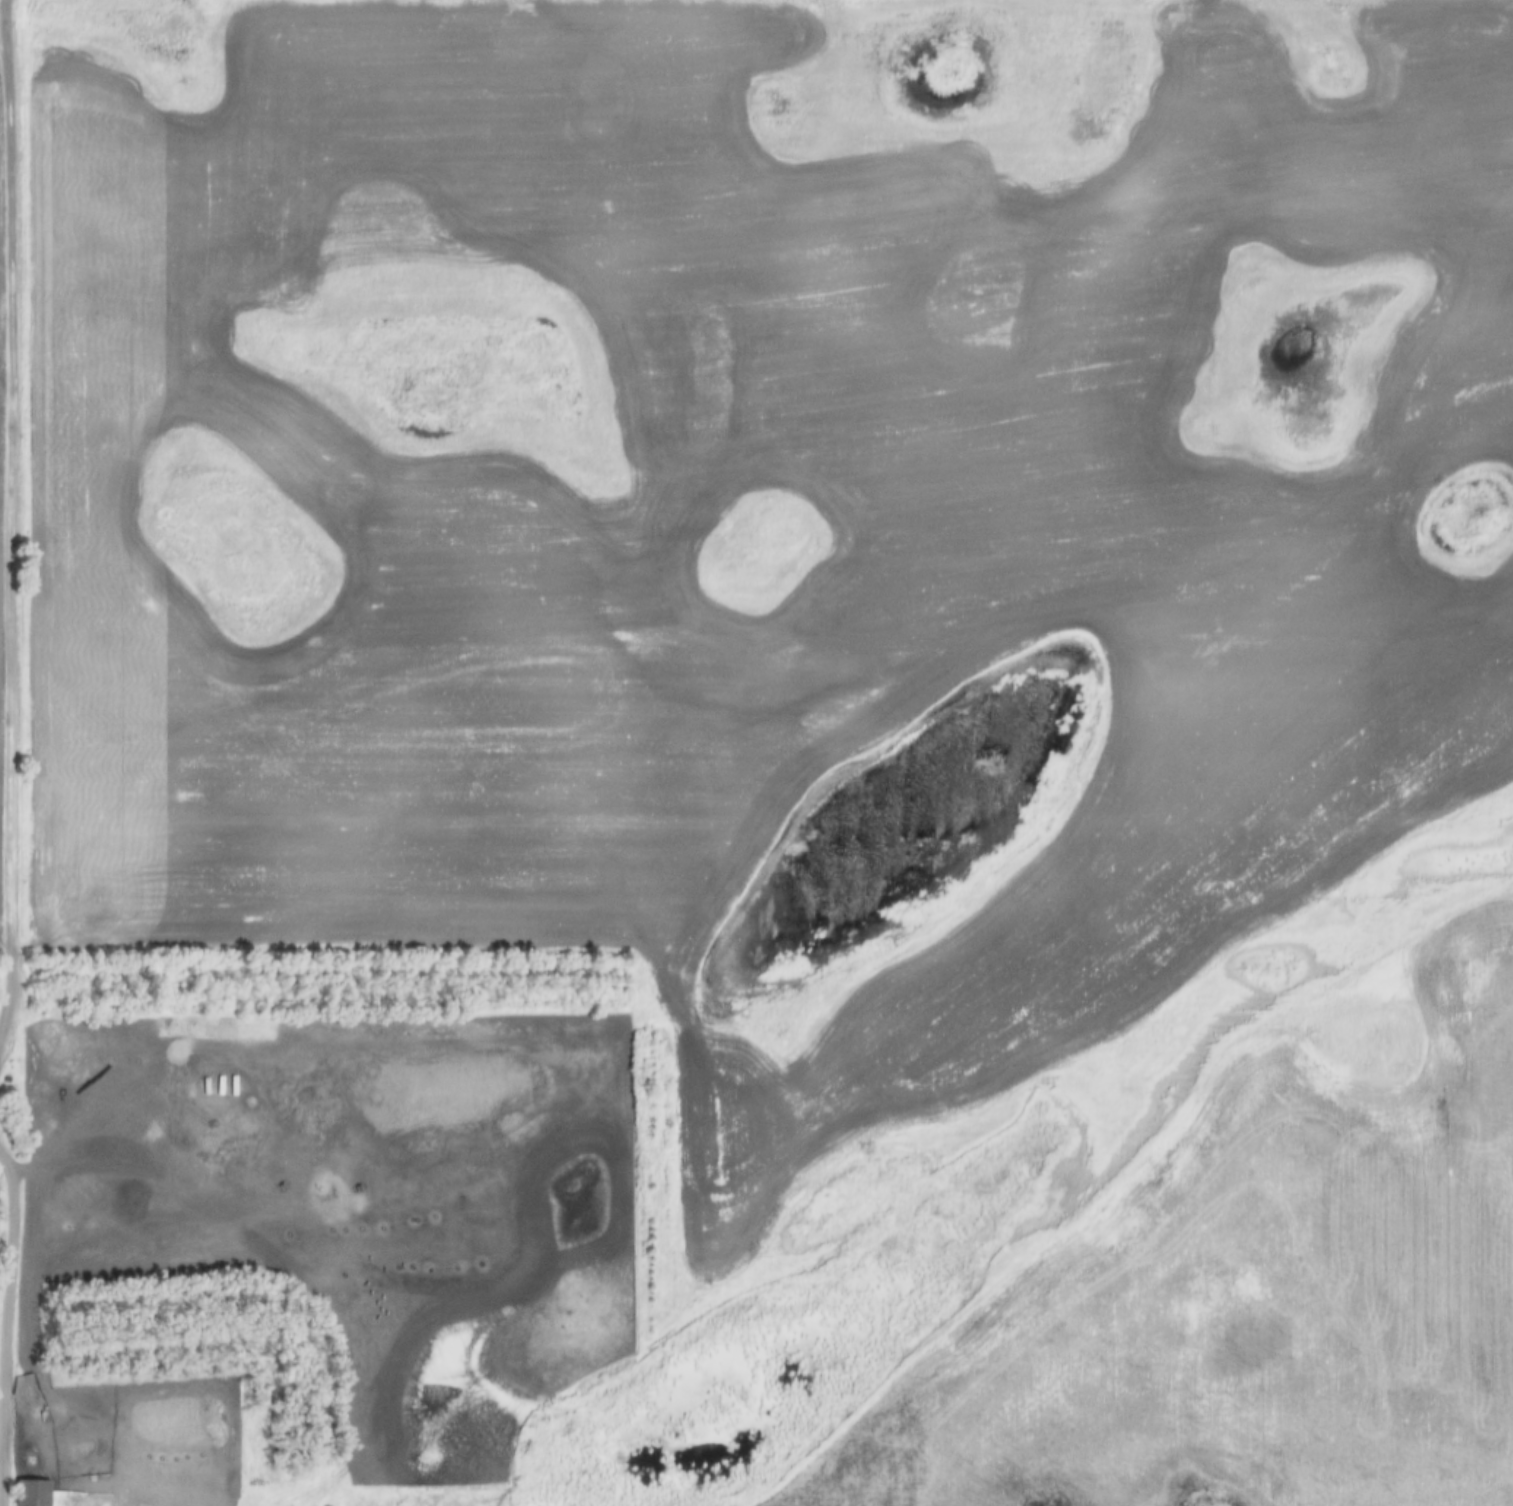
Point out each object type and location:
road: (5, 1360)

